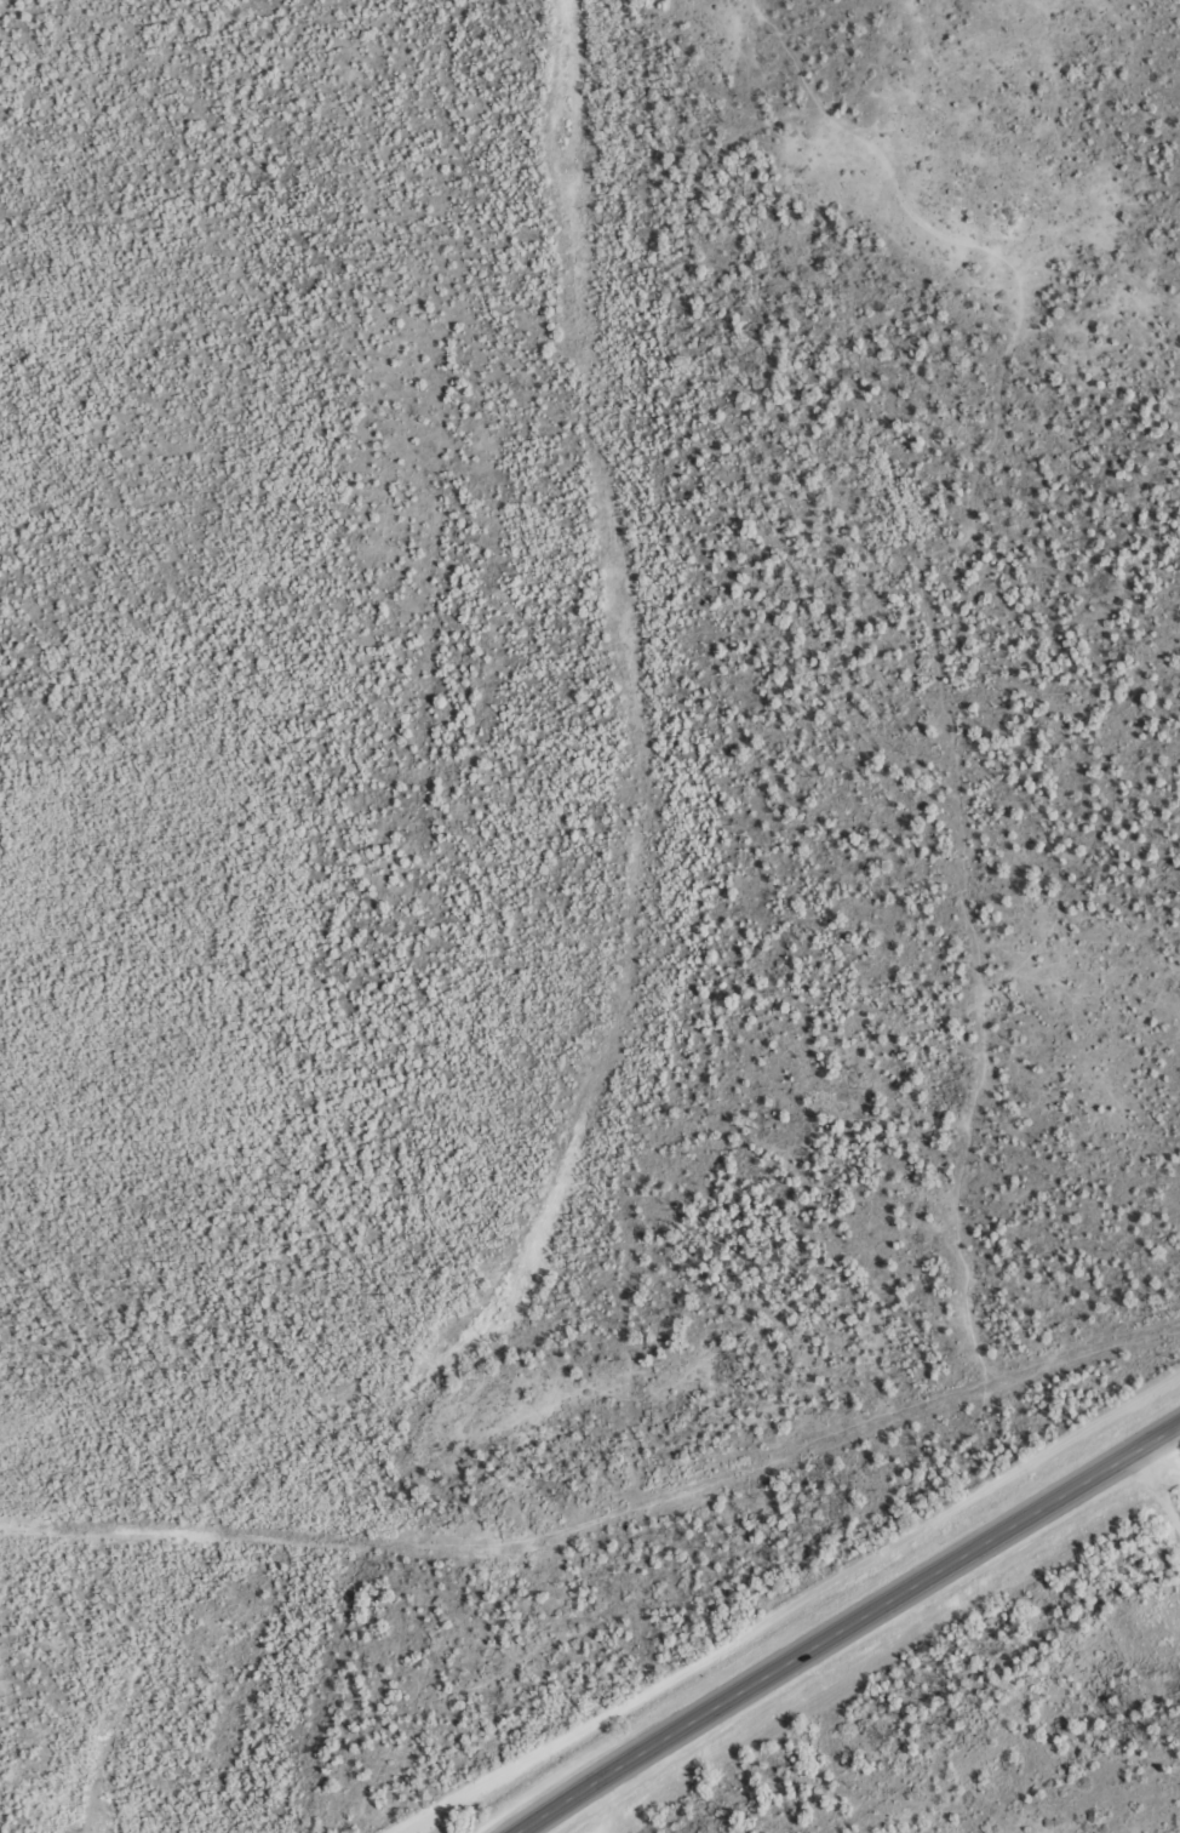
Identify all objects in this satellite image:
road: (1156, 1490)
road: (864, 1622)

